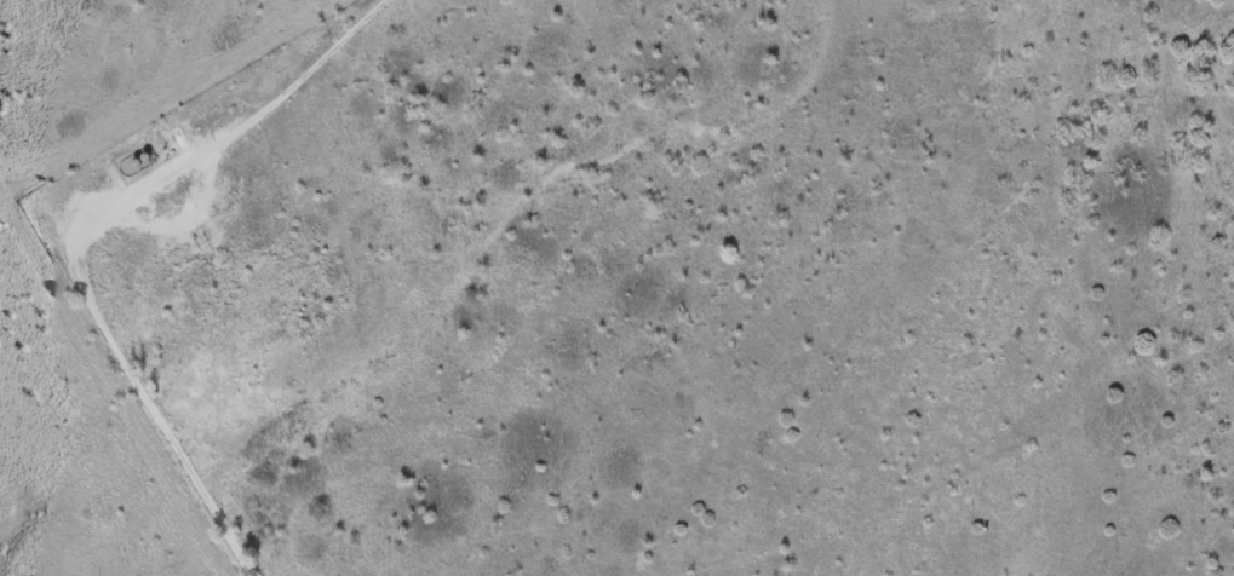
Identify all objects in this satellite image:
road: (70, 234)

